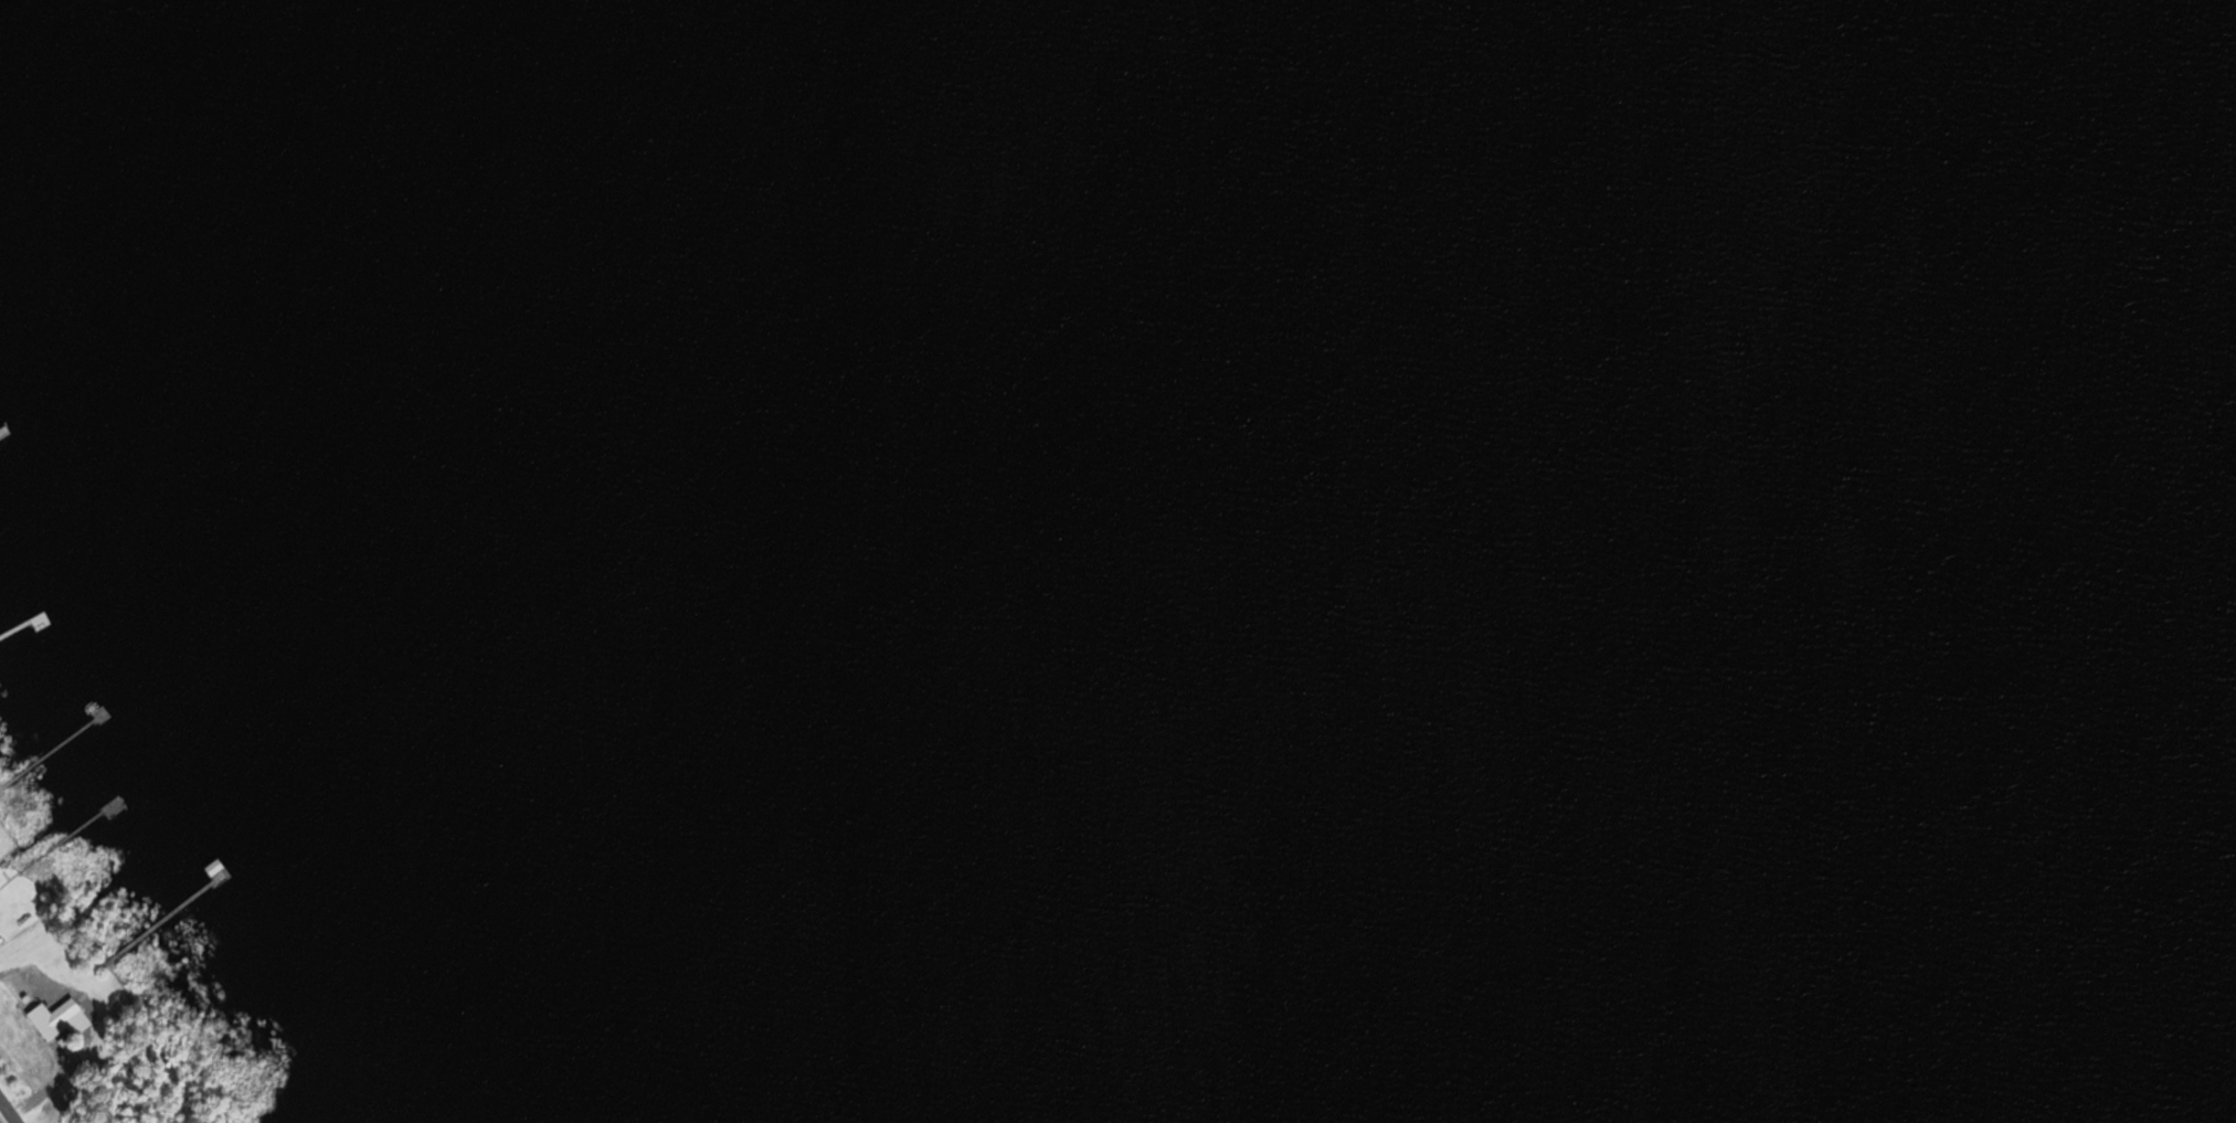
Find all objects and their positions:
building: (113, 807)
building: (211, 869)
building: (55, 1020)
road: (8, 1110)

